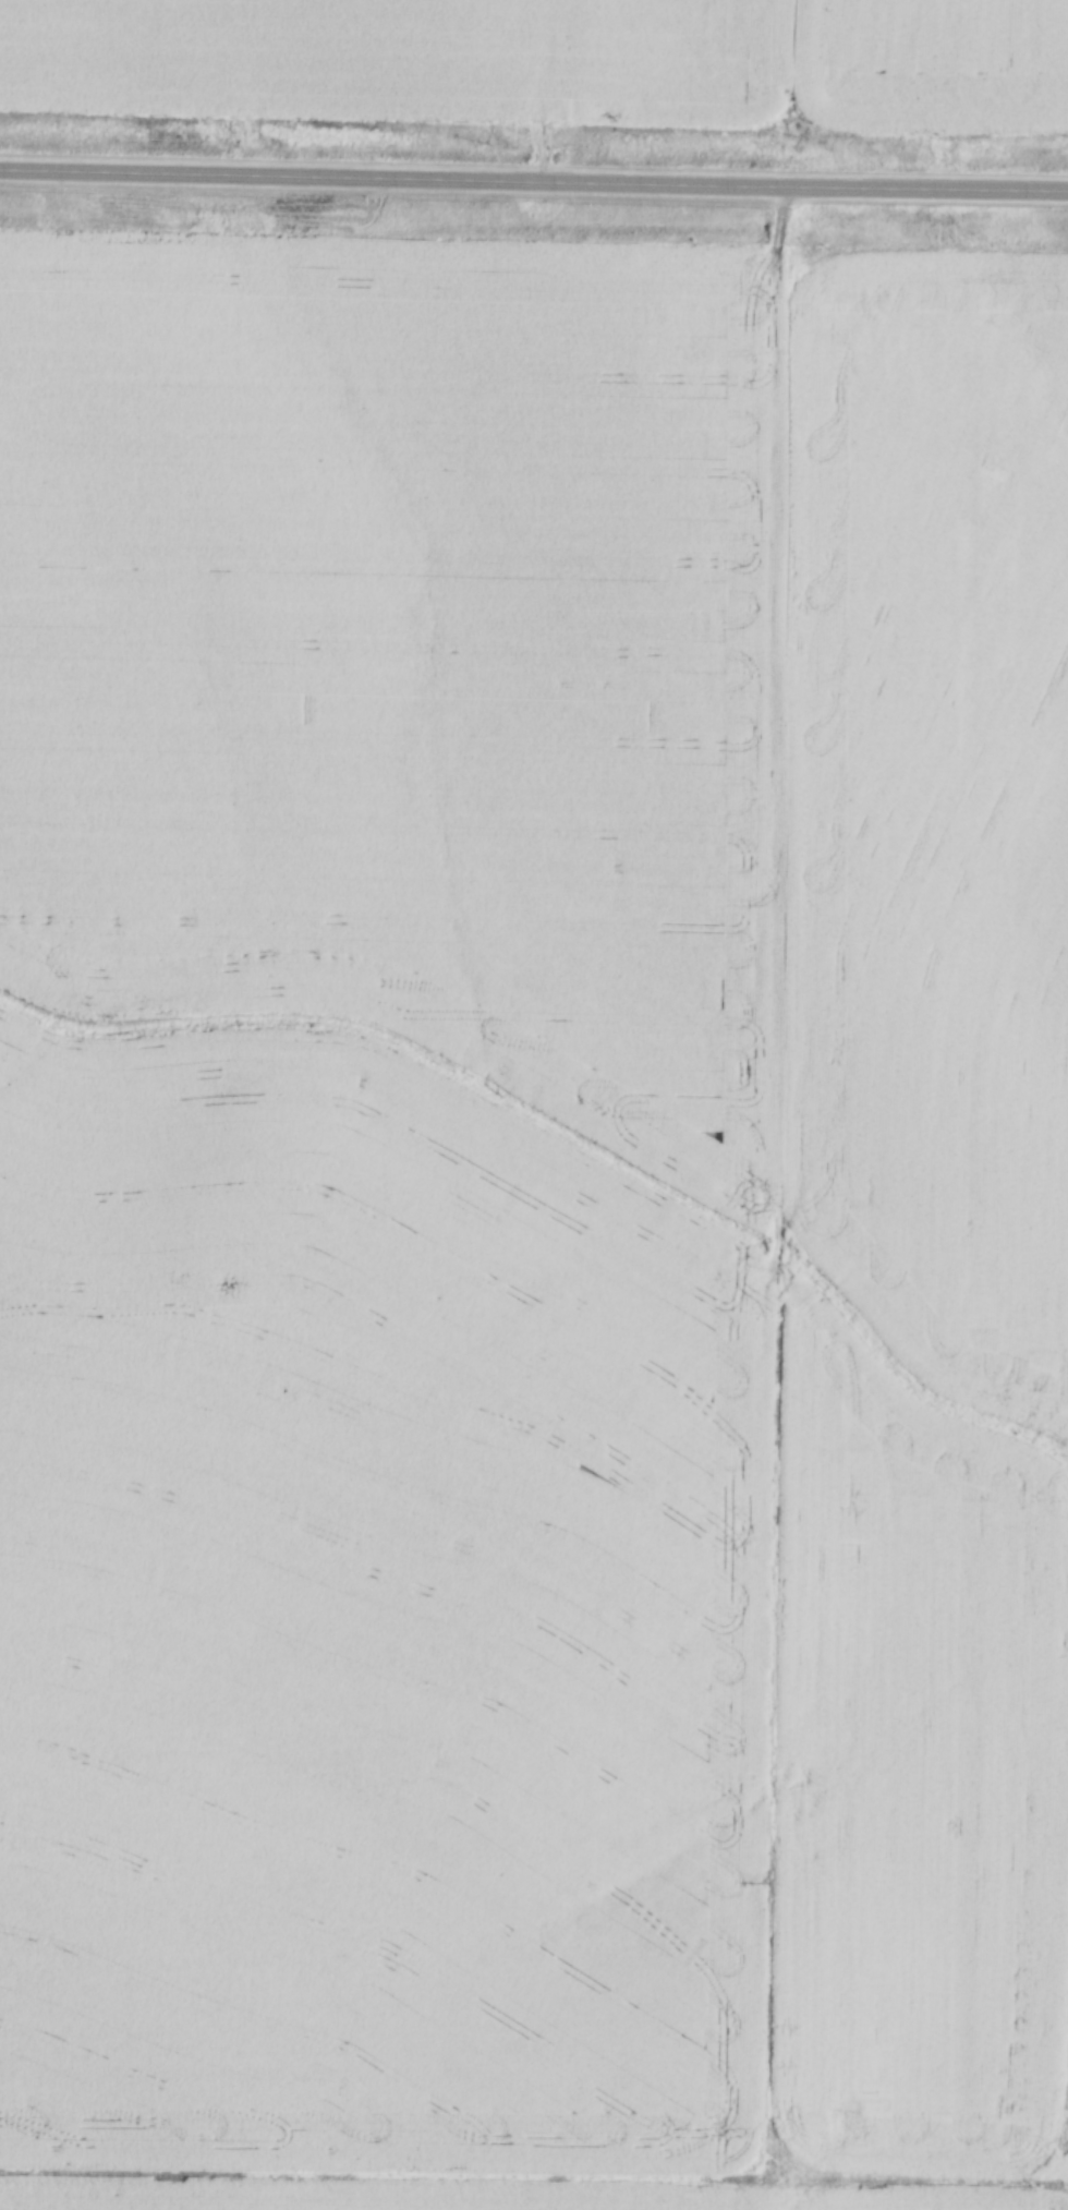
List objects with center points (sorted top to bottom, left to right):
road: (533, 179)

